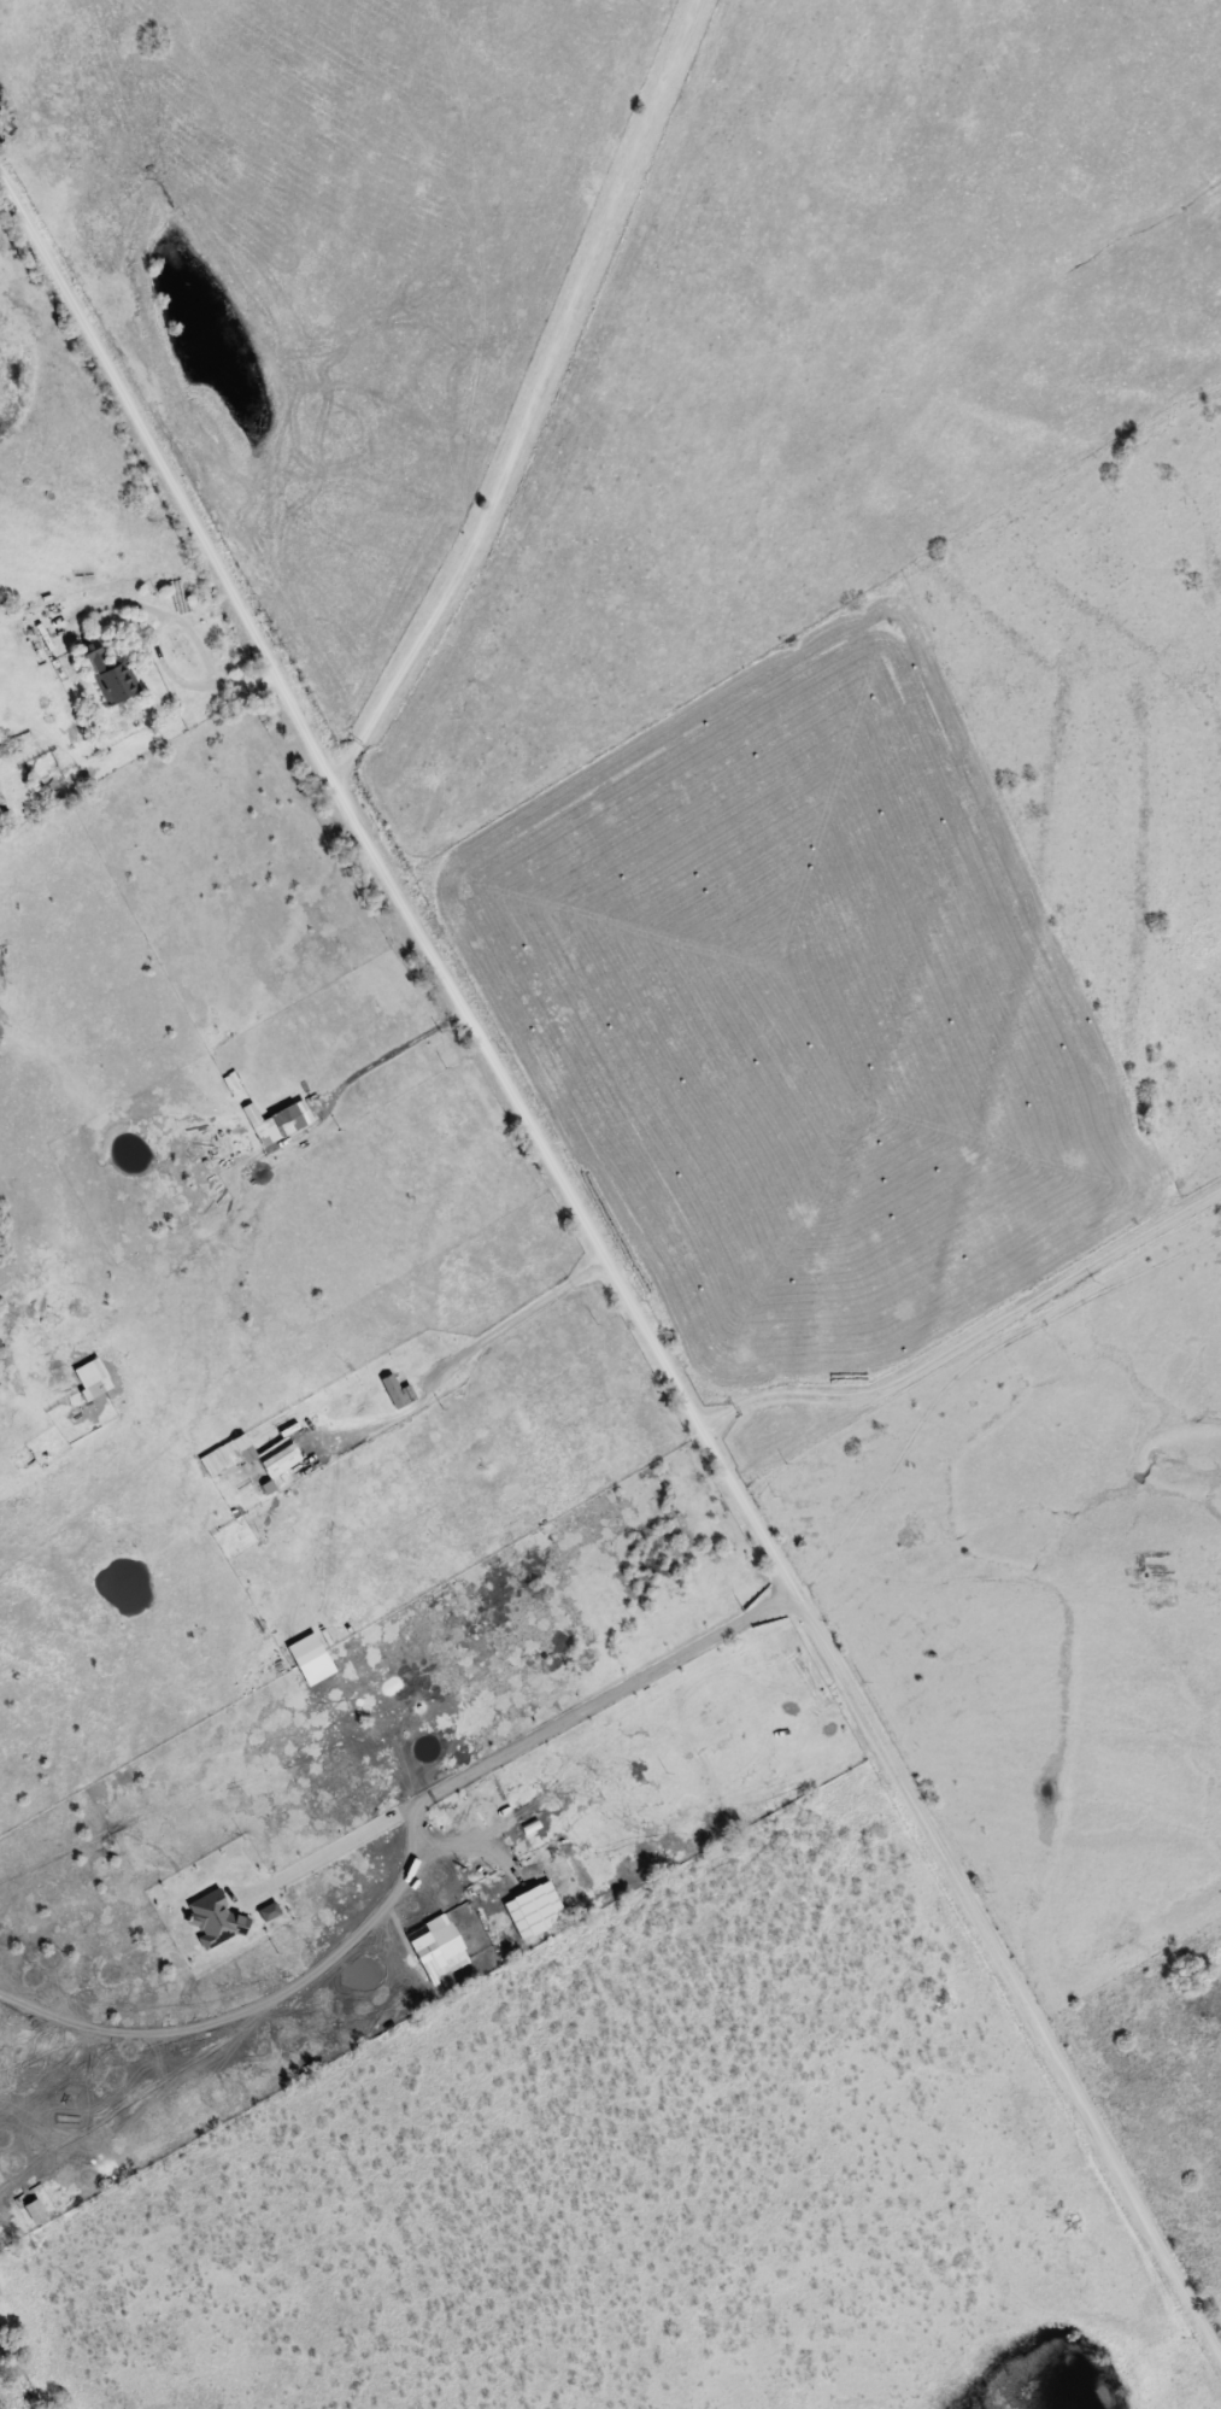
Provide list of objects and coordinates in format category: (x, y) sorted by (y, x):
road: (524, 399)
building: (108, 673)
building: (2, 803)
road: (364, 844)
road: (519, 1319)
road: (968, 1342)
road: (530, 1740)
road: (981, 1929)

